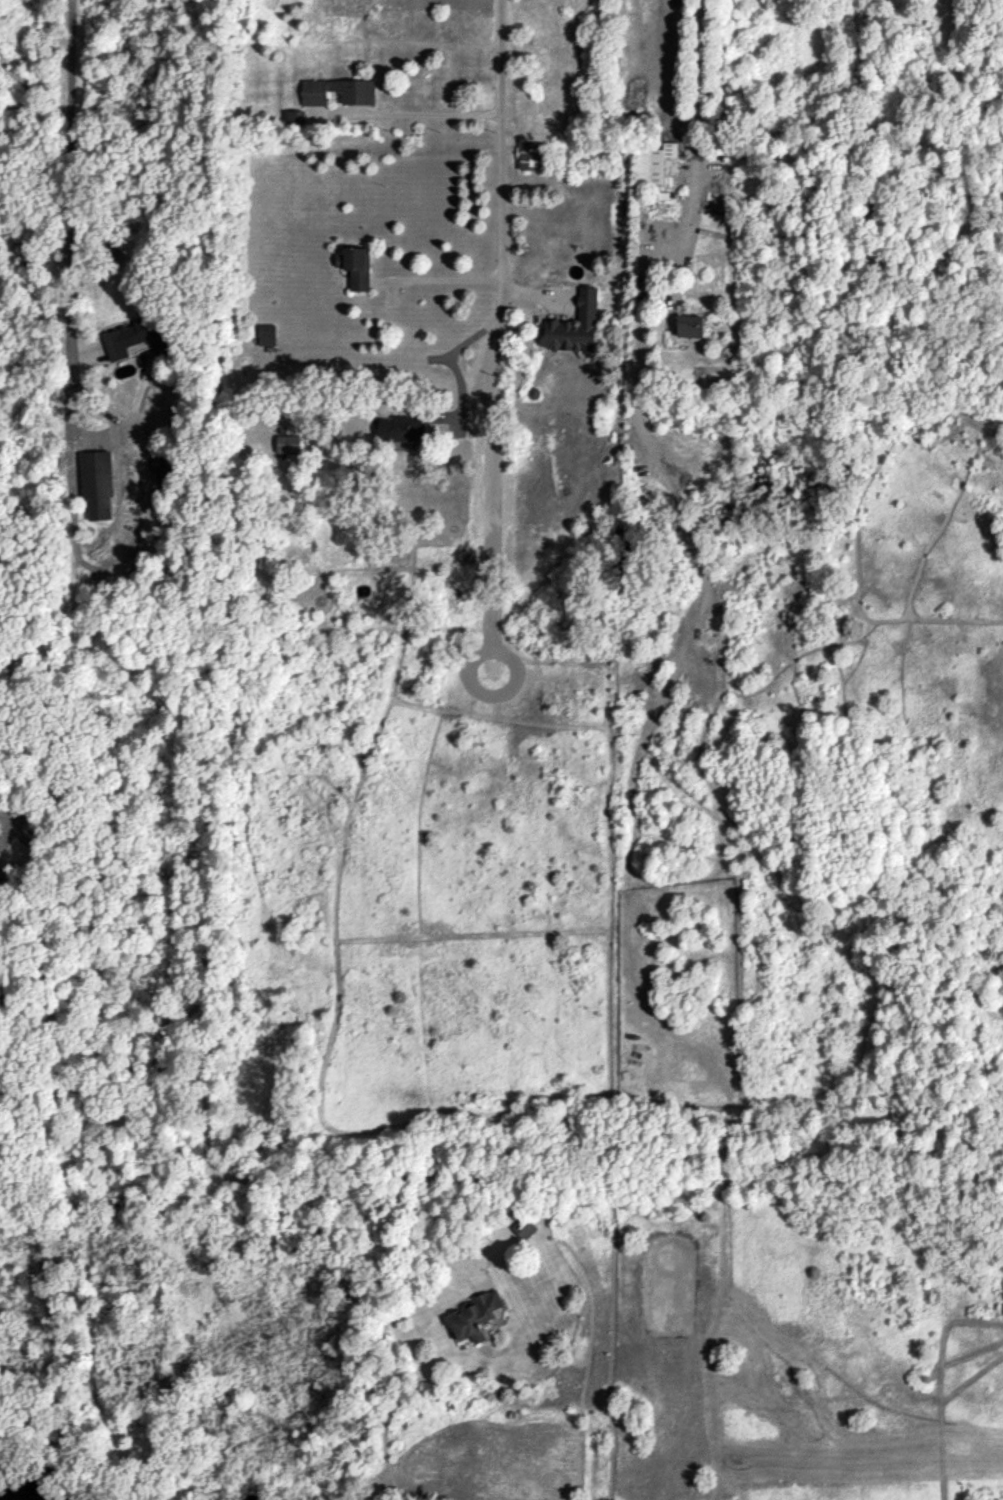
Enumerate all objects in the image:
building: (358, 97)
road: (425, 113)
building: (295, 116)
road: (695, 130)
building: (658, 166)
road: (71, 179)
road: (499, 197)
building: (356, 266)
road: (436, 279)
building: (691, 326)
building: (573, 327)
building: (267, 334)
building: (133, 339)
road: (360, 357)
building: (403, 428)
building: (288, 443)
building: (97, 483)
road: (210, 726)
road: (0, 816)
building: (0, 869)
building: (521, 1224)
building: (477, 1318)

